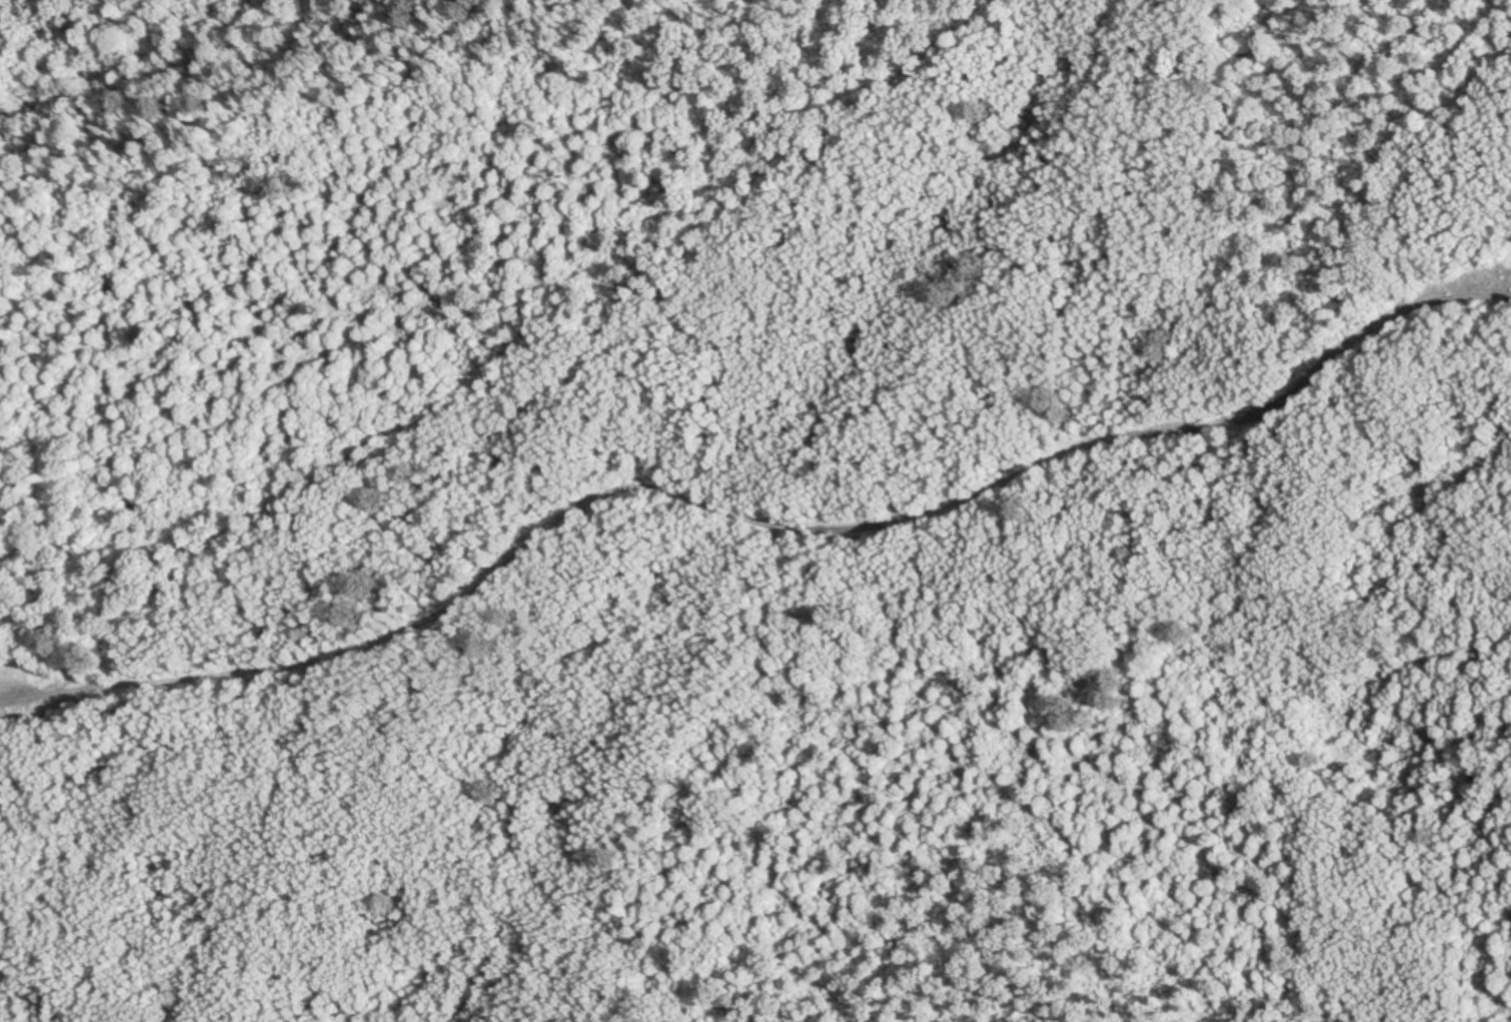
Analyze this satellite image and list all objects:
road: (760, 517)

